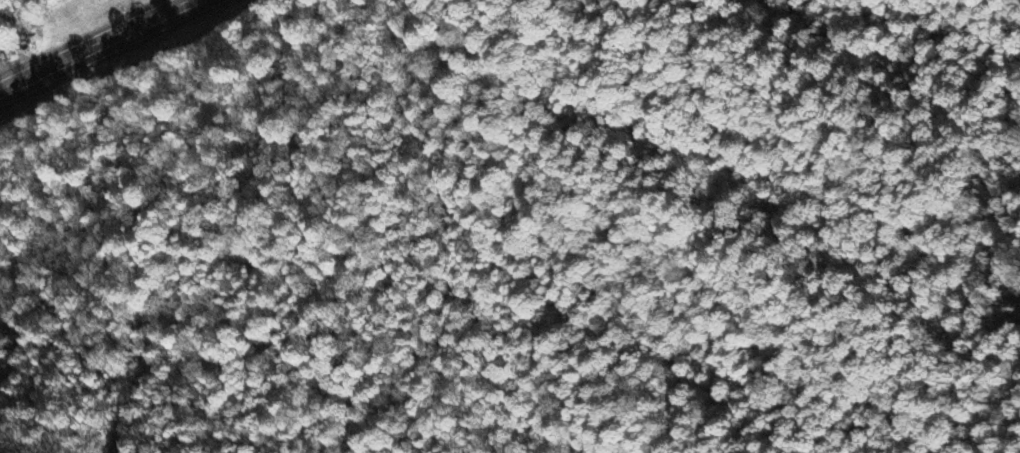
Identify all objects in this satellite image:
road: (99, 46)

